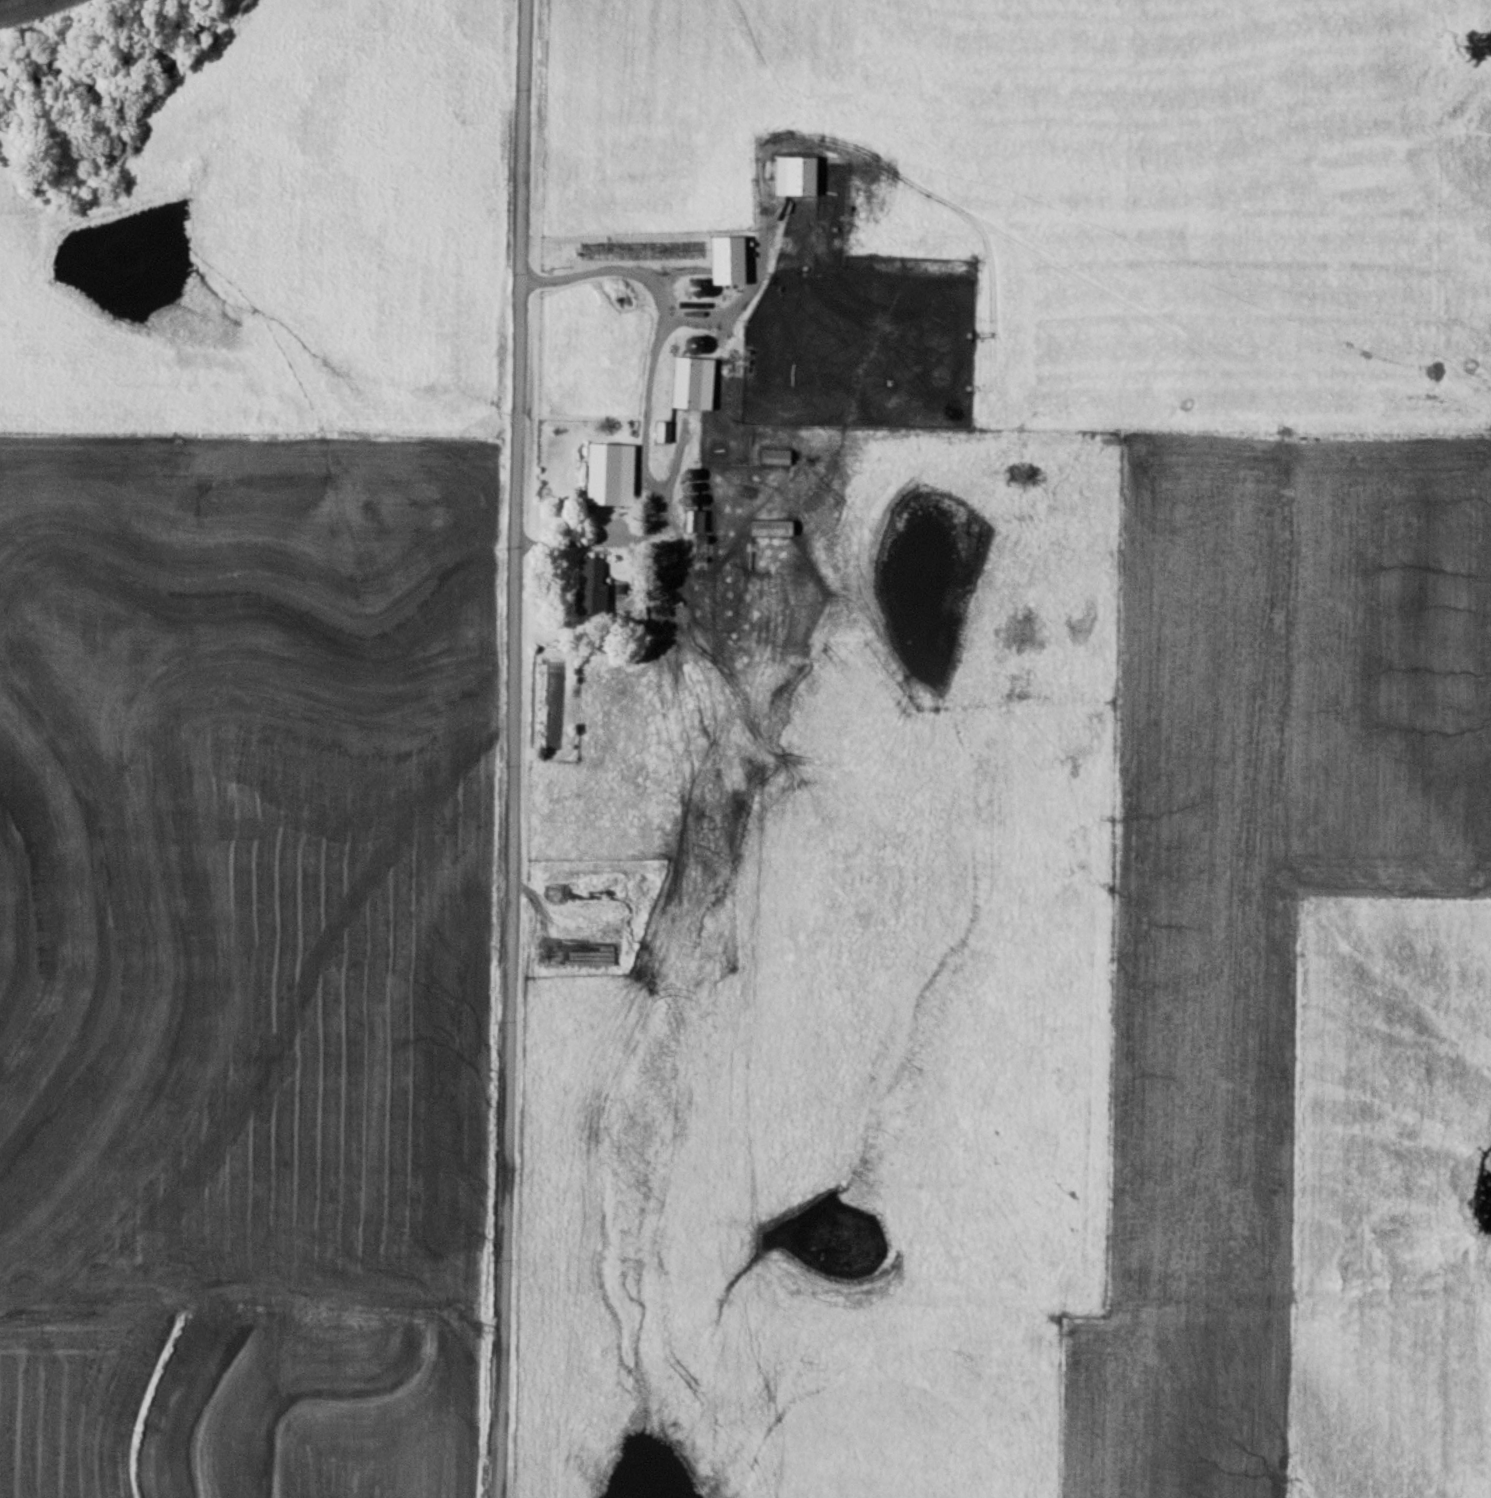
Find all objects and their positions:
building: (804, 243)
building: (696, 383)
building: (664, 432)
building: (778, 457)
building: (718, 466)
building: (613, 475)
building: (698, 523)
building: (774, 529)
building: (594, 589)
road: (509, 748)

